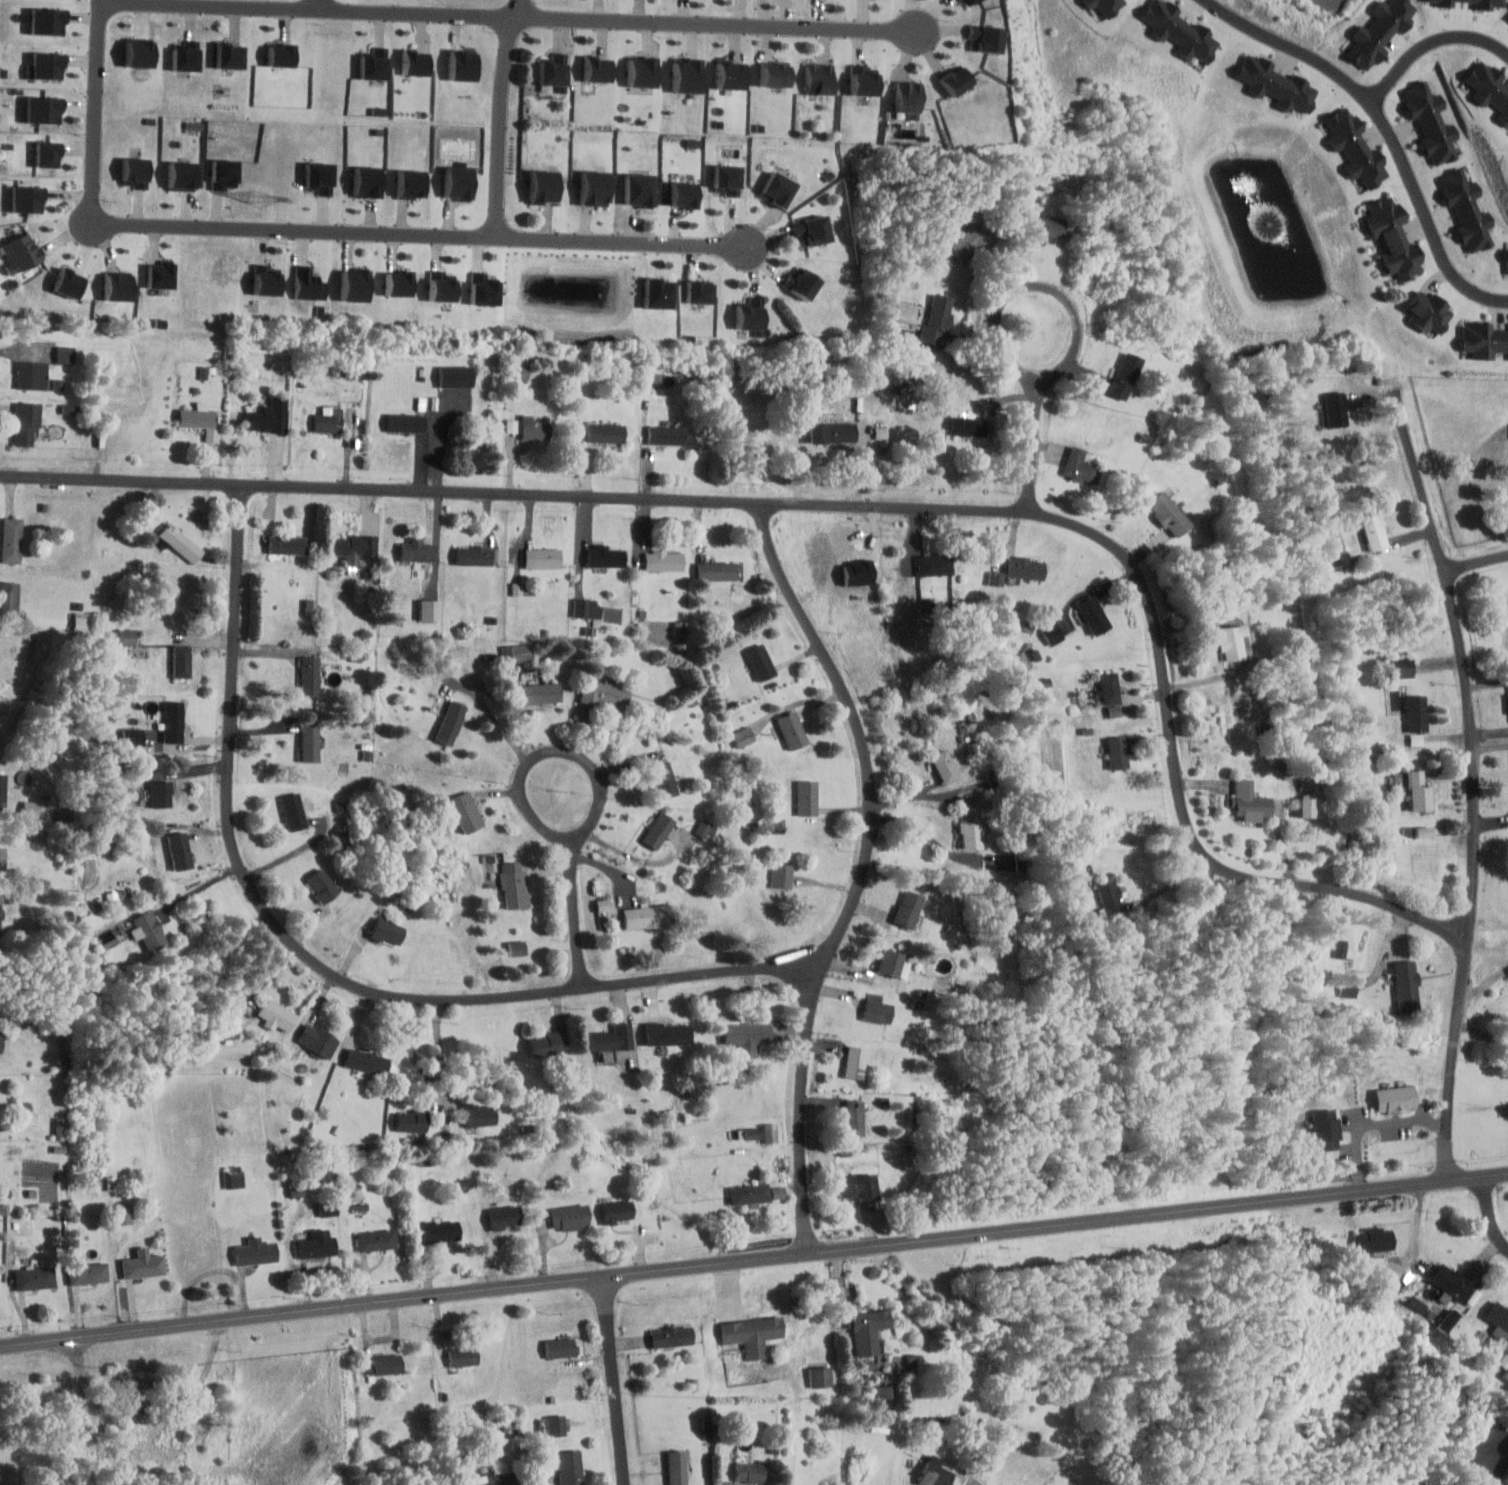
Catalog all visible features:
building: (968, 1)
road: (1328, 1)
road: (321, 4)
building: (1102, 4)
building: (1484, 5)
road: (506, 17)
building: (48, 19)
building: (1177, 27)
building: (1377, 34)
building: (981, 38)
road: (1430, 43)
building: (282, 52)
building: (138, 54)
building: (228, 56)
building: (188, 57)
building: (417, 62)
building: (46, 65)
building: (464, 65)
building: (374, 66)
building: (596, 70)
building: (641, 72)
building: (552, 74)
building: (773, 75)
building: (732, 76)
building: (684, 77)
building: (817, 79)
building: (859, 81)
building: (951, 81)
building: (1277, 82)
building: (1494, 84)
building: (906, 98)
building: (40, 110)
road: (97, 111)
road: (502, 117)
building: (1431, 123)
road: (1388, 125)
building: (1359, 145)
building: (45, 154)
building: (134, 172)
building: (221, 174)
building: (185, 176)
building: (318, 176)
building: (725, 180)
building: (369, 181)
building: (458, 183)
building: (412, 184)
building: (542, 186)
building: (591, 188)
building: (636, 189)
building: (777, 190)
building: (680, 194)
building: (24, 199)
building: (1467, 206)
building: (1043, 226)
building: (811, 230)
road: (418, 233)
building: (1393, 237)
building: (969, 242)
building: (23, 254)
building: (1507, 268)
building: (161, 274)
building: (265, 280)
building: (801, 283)
building: (69, 284)
building: (308, 284)
building: (353, 285)
building: (398, 285)
building: (440, 287)
building: (115, 288)
building: (484, 293)
building: (695, 293)
building: (654, 294)
building: (1428, 313)
building: (746, 314)
building: (937, 320)
building: (1481, 341)
road: (1070, 352)
building: (65, 353)
building: (521, 371)
building: (31, 375)
building: (1123, 375)
building: (652, 376)
building: (455, 377)
building: (902, 382)
building: (1336, 410)
building: (268, 417)
building: (195, 418)
building: (406, 422)
building: (25, 423)
building: (326, 423)
building: (966, 427)
building: (513, 430)
building: (534, 431)
building: (830, 432)
building: (604, 434)
building: (665, 435)
road: (440, 440)
road: (1034, 441)
building: (1078, 465)
river: (1289, 495)
road: (866, 504)
building: (1168, 514)
building: (1374, 533)
building: (10, 540)
building: (179, 543)
building: (285, 544)
road: (584, 545)
building: (349, 549)
building: (416, 551)
building: (473, 557)
building: (605, 557)
building: (541, 558)
building: (662, 562)
road: (1476, 562)
building: (933, 565)
building: (1023, 567)
building: (713, 571)
building: (517, 588)
building: (8, 600)
building: (310, 605)
building: (587, 607)
building: (430, 608)
building: (1092, 614)
building: (1053, 632)
building: (123, 635)
building: (1229, 640)
building: (518, 653)
building: (180, 662)
building: (759, 662)
building: (1402, 665)
building: (310, 677)
building: (722, 687)
building: (1109, 688)
building: (541, 693)
building: (603, 696)
building: (1114, 710)
building: (1418, 713)
road: (495, 719)
building: (172, 723)
building: (450, 723)
building: (791, 730)
building: (743, 735)
building: (308, 743)
building: (1116, 751)
road: (582, 757)
building: (944, 765)
building: (663, 779)
road: (1472, 781)
road: (927, 787)
building: (2, 788)
building: (1418, 791)
road: (929, 793)
building: (161, 794)
building: (806, 797)
building: (1248, 799)
building: (1306, 806)
building: (30, 808)
building: (465, 811)
building: (293, 812)
building: (705, 828)
road: (923, 828)
building: (656, 830)
building: (1425, 831)
building: (969, 833)
building: (178, 850)
road: (290, 854)
building: (2, 861)
road: (862, 871)
building: (782, 875)
building: (512, 884)
building: (321, 885)
road: (1169, 885)
road: (199, 888)
river: (1335, 895)
building: (1108, 898)
building: (602, 904)
building: (0, 910)
building: (908, 910)
road: (575, 913)
building: (646, 916)
building: (150, 931)
building: (386, 932)
building: (515, 946)
building: (887, 963)
road: (319, 966)
road: (1484, 983)
building: (1406, 986)
building: (875, 1009)
building: (275, 1013)
building: (747, 1033)
building: (665, 1034)
building: (609, 1039)
building: (316, 1041)
building: (0, 1043)
building: (542, 1045)
road: (438, 1050)
river: (1293, 1056)
building: (365, 1060)
building: (853, 1062)
building: (1396, 1098)
building: (479, 1116)
building: (853, 1118)
building: (411, 1121)
road: (1374, 1124)
building: (60, 1125)
building: (1325, 1130)
building: (769, 1131)
building: (751, 1132)
building: (233, 1179)
building: (860, 1185)
building: (296, 1191)
building: (749, 1194)
building: (615, 1211)
building: (123, 1213)
river: (1225, 1213)
road: (1490, 1214)
building: (503, 1216)
building: (569, 1216)
building: (438, 1231)
building: (374, 1239)
building: (1374, 1240)
building: (315, 1244)
building: (253, 1252)
road: (754, 1260)
building: (142, 1264)
building: (88, 1273)
building: (34, 1277)
building: (1450, 1282)
road: (840, 1301)
building: (1417, 1303)
building: (1497, 1316)
building: (1449, 1319)
building: (868, 1329)
building: (751, 1334)
building: (670, 1336)
building: (559, 1347)
river: (1143, 1353)
building: (462, 1355)
building: (1504, 1360)
building: (385, 1364)
building: (820, 1376)
road: (613, 1381)
building: (884, 1391)
building: (556, 1425)
building: (569, 1467)
building: (676, 1467)
building: (748, 1472)
building: (933, 1475)
building: (499, 1480)

